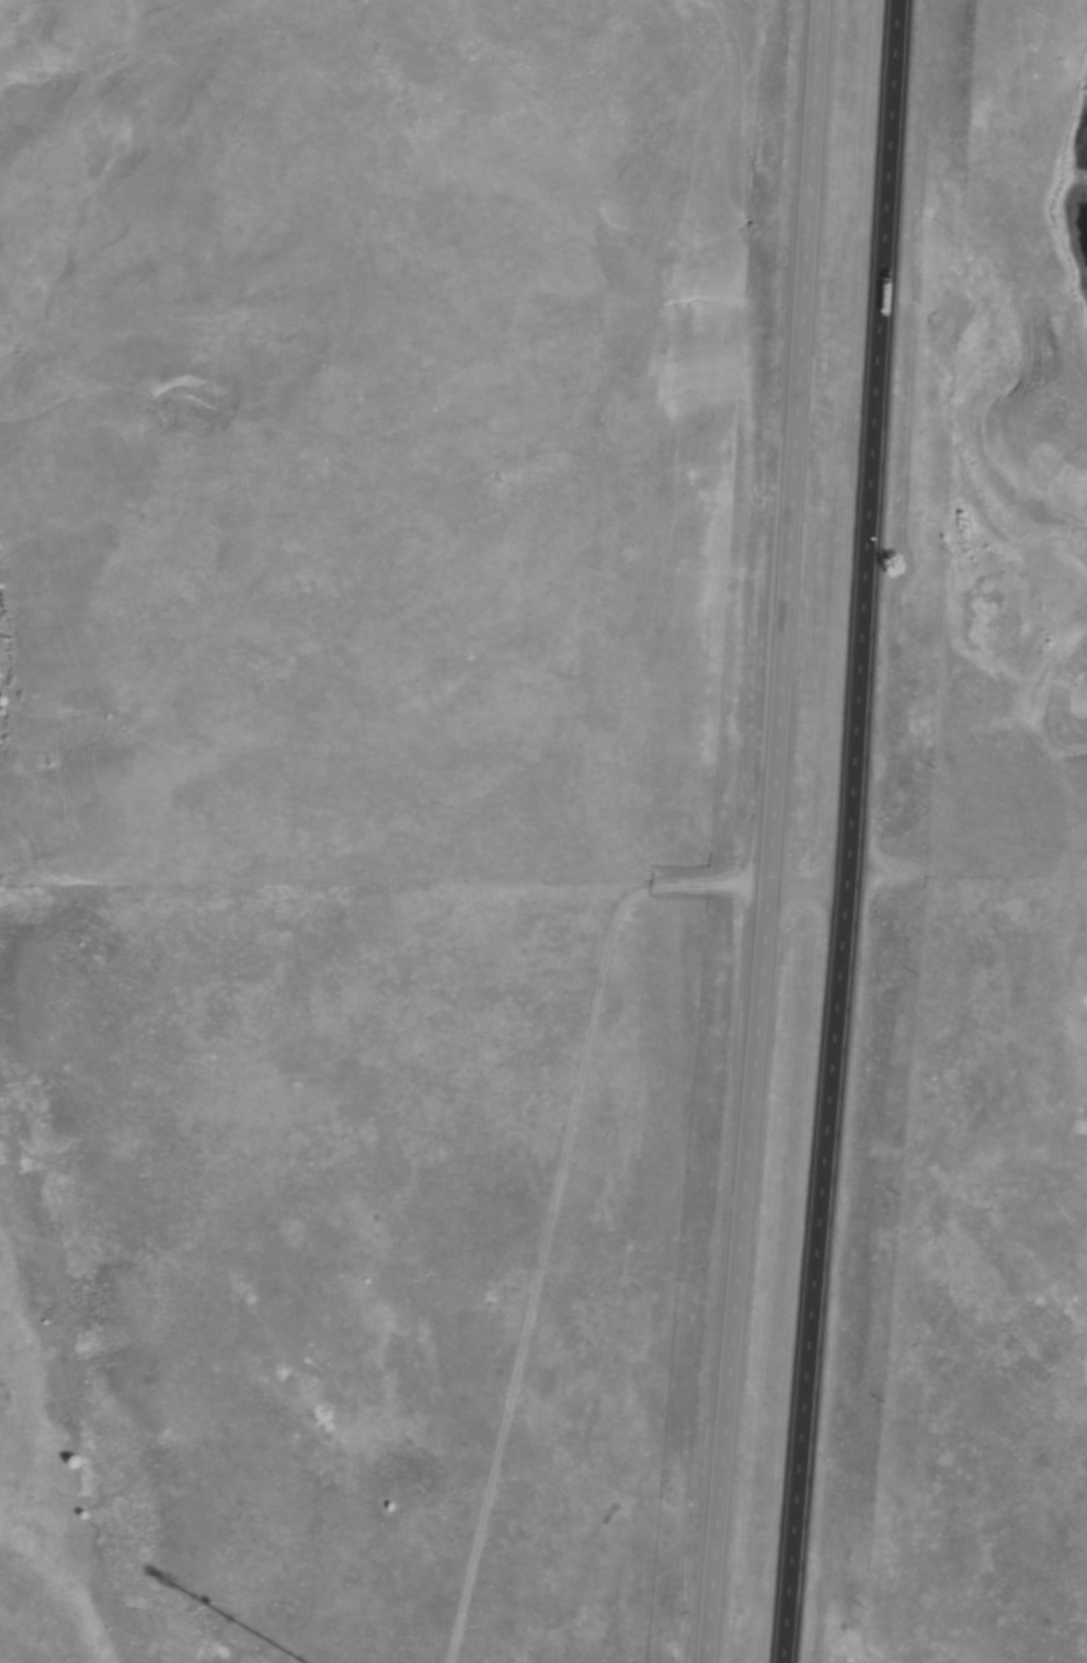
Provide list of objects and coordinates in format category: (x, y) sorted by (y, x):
road: (770, 832)
road: (850, 832)

